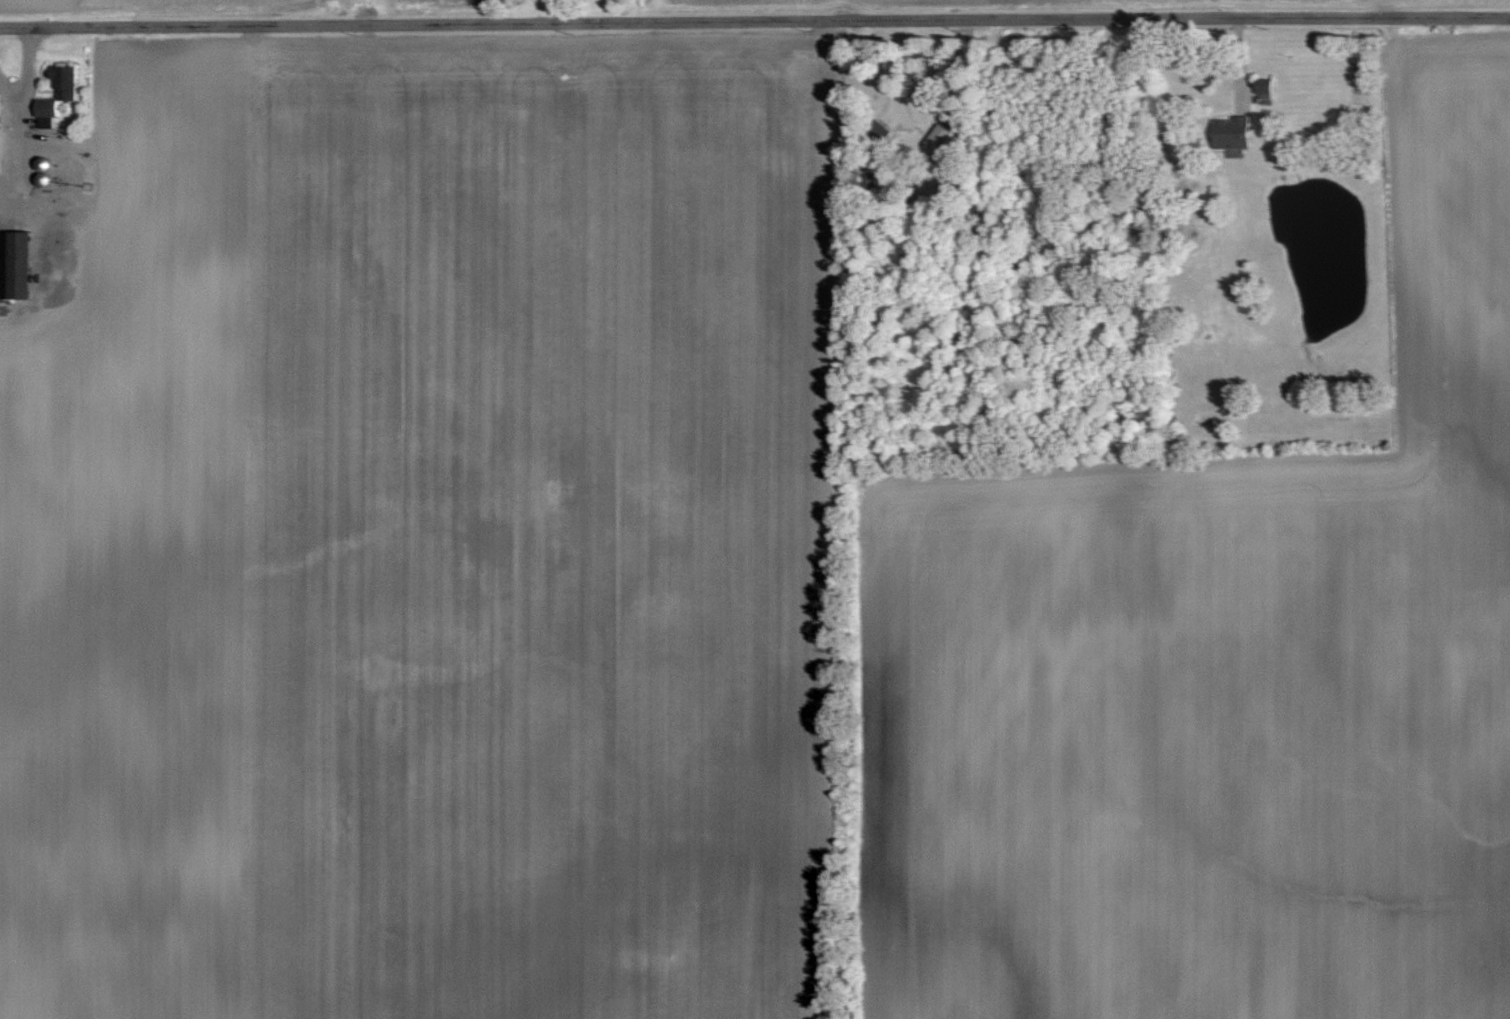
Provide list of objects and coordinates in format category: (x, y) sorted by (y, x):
road: (755, 20)
building: (1263, 87)
building: (58, 90)
building: (0, 92)
building: (879, 131)
building: (1231, 132)
building: (940, 139)
building: (43, 164)
building: (4, 265)

